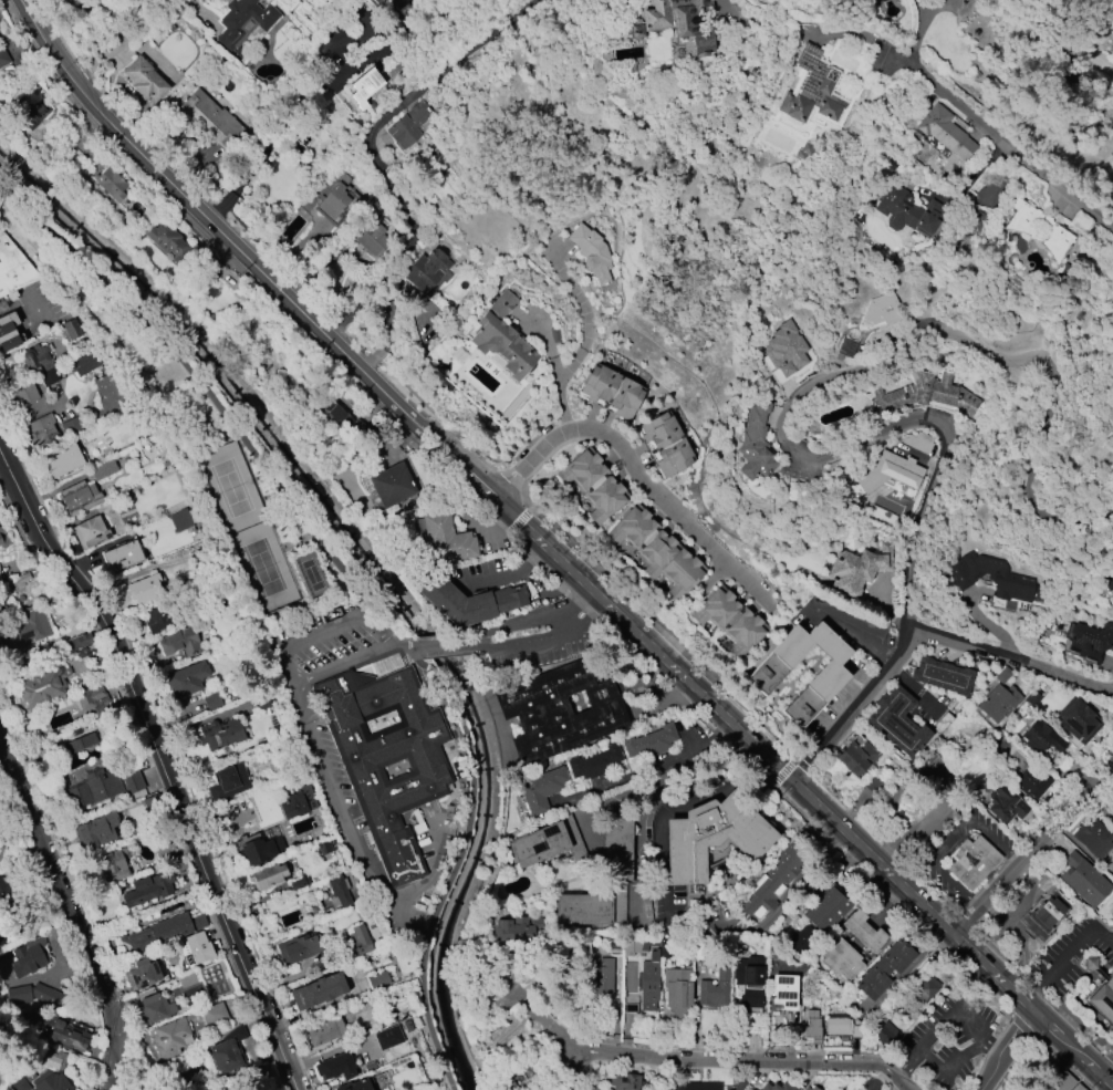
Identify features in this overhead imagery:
building: (374, 1)
road: (724, 1)
building: (399, 3)
building: (656, 15)
building: (693, 23)
building: (243, 24)
building: (636, 32)
road: (854, 37)
road: (122, 39)
building: (3, 58)
building: (144, 79)
building: (365, 86)
building: (813, 90)
road: (407, 101)
road: (289, 106)
building: (32, 116)
building: (212, 118)
building: (408, 125)
building: (943, 132)
road: (1002, 137)
building: (111, 184)
building: (335, 201)
building: (908, 211)
building: (1075, 222)
building: (1034, 229)
road: (54, 231)
building: (372, 239)
building: (168, 241)
building: (590, 252)
building: (13, 268)
building: (427, 274)
road: (374, 282)
building: (505, 301)
building: (878, 310)
building: (71, 329)
building: (8, 332)
road: (582, 340)
road: (545, 345)
building: (502, 346)
building: (786, 350)
building: (86, 361)
building: (41, 363)
road: (824, 386)
building: (610, 391)
building: (108, 393)
building: (930, 395)
building: (27, 399)
building: (335, 414)
building: (71, 426)
building: (42, 430)
building: (749, 442)
building: (665, 445)
building: (64, 461)
road: (630, 461)
building: (103, 470)
building: (886, 478)
building: (391, 485)
building: (592, 485)
park: (230, 488)
building: (80, 498)
building: (181, 520)
building: (90, 532)
building: (2, 539)
building: (445, 540)
building: (654, 550)
road: (552, 554)
building: (123, 556)
park: (263, 568)
river: (377, 568)
building: (855, 572)
road: (507, 573)
park: (311, 574)
building: (990, 577)
building: (1107, 580)
building: (145, 589)
road: (590, 600)
building: (469, 601)
building: (159, 620)
building: (727, 621)
road: (506, 623)
road: (324, 629)
building: (24, 632)
road: (551, 632)
building: (1091, 641)
building: (77, 642)
building: (180, 643)
road: (404, 646)
road: (466, 646)
road: (404, 651)
building: (84, 652)
road: (1009, 662)
road: (335, 663)
building: (762, 675)
building: (1003, 675)
building: (943, 676)
road: (131, 677)
building: (185, 679)
building: (41, 686)
road: (913, 689)
building: (93, 698)
building: (1032, 699)
building: (998, 703)
building: (558, 708)
road: (855, 709)
building: (1079, 720)
building: (943, 722)
building: (896, 723)
building: (220, 734)
building: (1041, 737)
building: (80, 743)
building: (648, 744)
building: (386, 758)
building: (854, 758)
building: (595, 762)
road: (644, 767)
building: (1031, 781)
building: (229, 783)
building: (102, 788)
building: (538, 789)
road: (651, 791)
building: (1005, 806)
building: (295, 807)
building: (95, 831)
building: (1092, 838)
building: (707, 839)
building: (545, 841)
road: (355, 842)
road: (1033, 849)
building: (262, 850)
building: (972, 861)
building: (113, 865)
building: (777, 873)
building: (271, 875)
building: (601, 880)
building: (1083, 880)
building: (298, 883)
building: (148, 889)
building: (4, 890)
road: (794, 890)
building: (340, 892)
road: (72, 911)
building: (824, 911)
building: (1046, 913)
building: (163, 931)
building: (511, 932)
building: (862, 932)
building: (2, 937)
building: (360, 940)
building: (801, 940)
building: (637, 945)
building: (303, 947)
building: (197, 948)
road: (1065, 955)
building: (28, 957)
building: (838, 957)
building: (883, 969)
building: (144, 974)
building: (601, 977)
building: (377, 979)
building: (749, 980)
building: (181, 982)
building: (648, 982)
building: (714, 989)
building: (677, 990)
building: (782, 990)
building: (923, 990)
building: (320, 992)
building: (1103, 999)
building: (40, 1000)
road: (264, 1005)
road: (945, 1006)
building: (155, 1008)
building: (212, 1015)
building: (838, 1025)
building: (812, 1027)
road: (548, 1028)
building: (324, 1032)
building: (884, 1034)
building: (69, 1038)
building: (170, 1038)
parking lot: (948, 1040)
road: (994, 1044)
road: (1003, 1048)
building: (227, 1050)
road: (741, 1057)
building: (53, 1059)
road: (951, 1062)
road: (907, 1065)
building: (337, 1067)
road: (579, 1067)
road: (1107, 1069)
building: (625, 1081)
building: (51, 1082)
building: (358, 1084)
building: (20, 1086)
building: (738, 1086)
building: (698, 1087)
building: (773, 1087)
building: (217, 1088)
building: (809, 1088)
building: (804, 1089)
building: (812, 1089)

